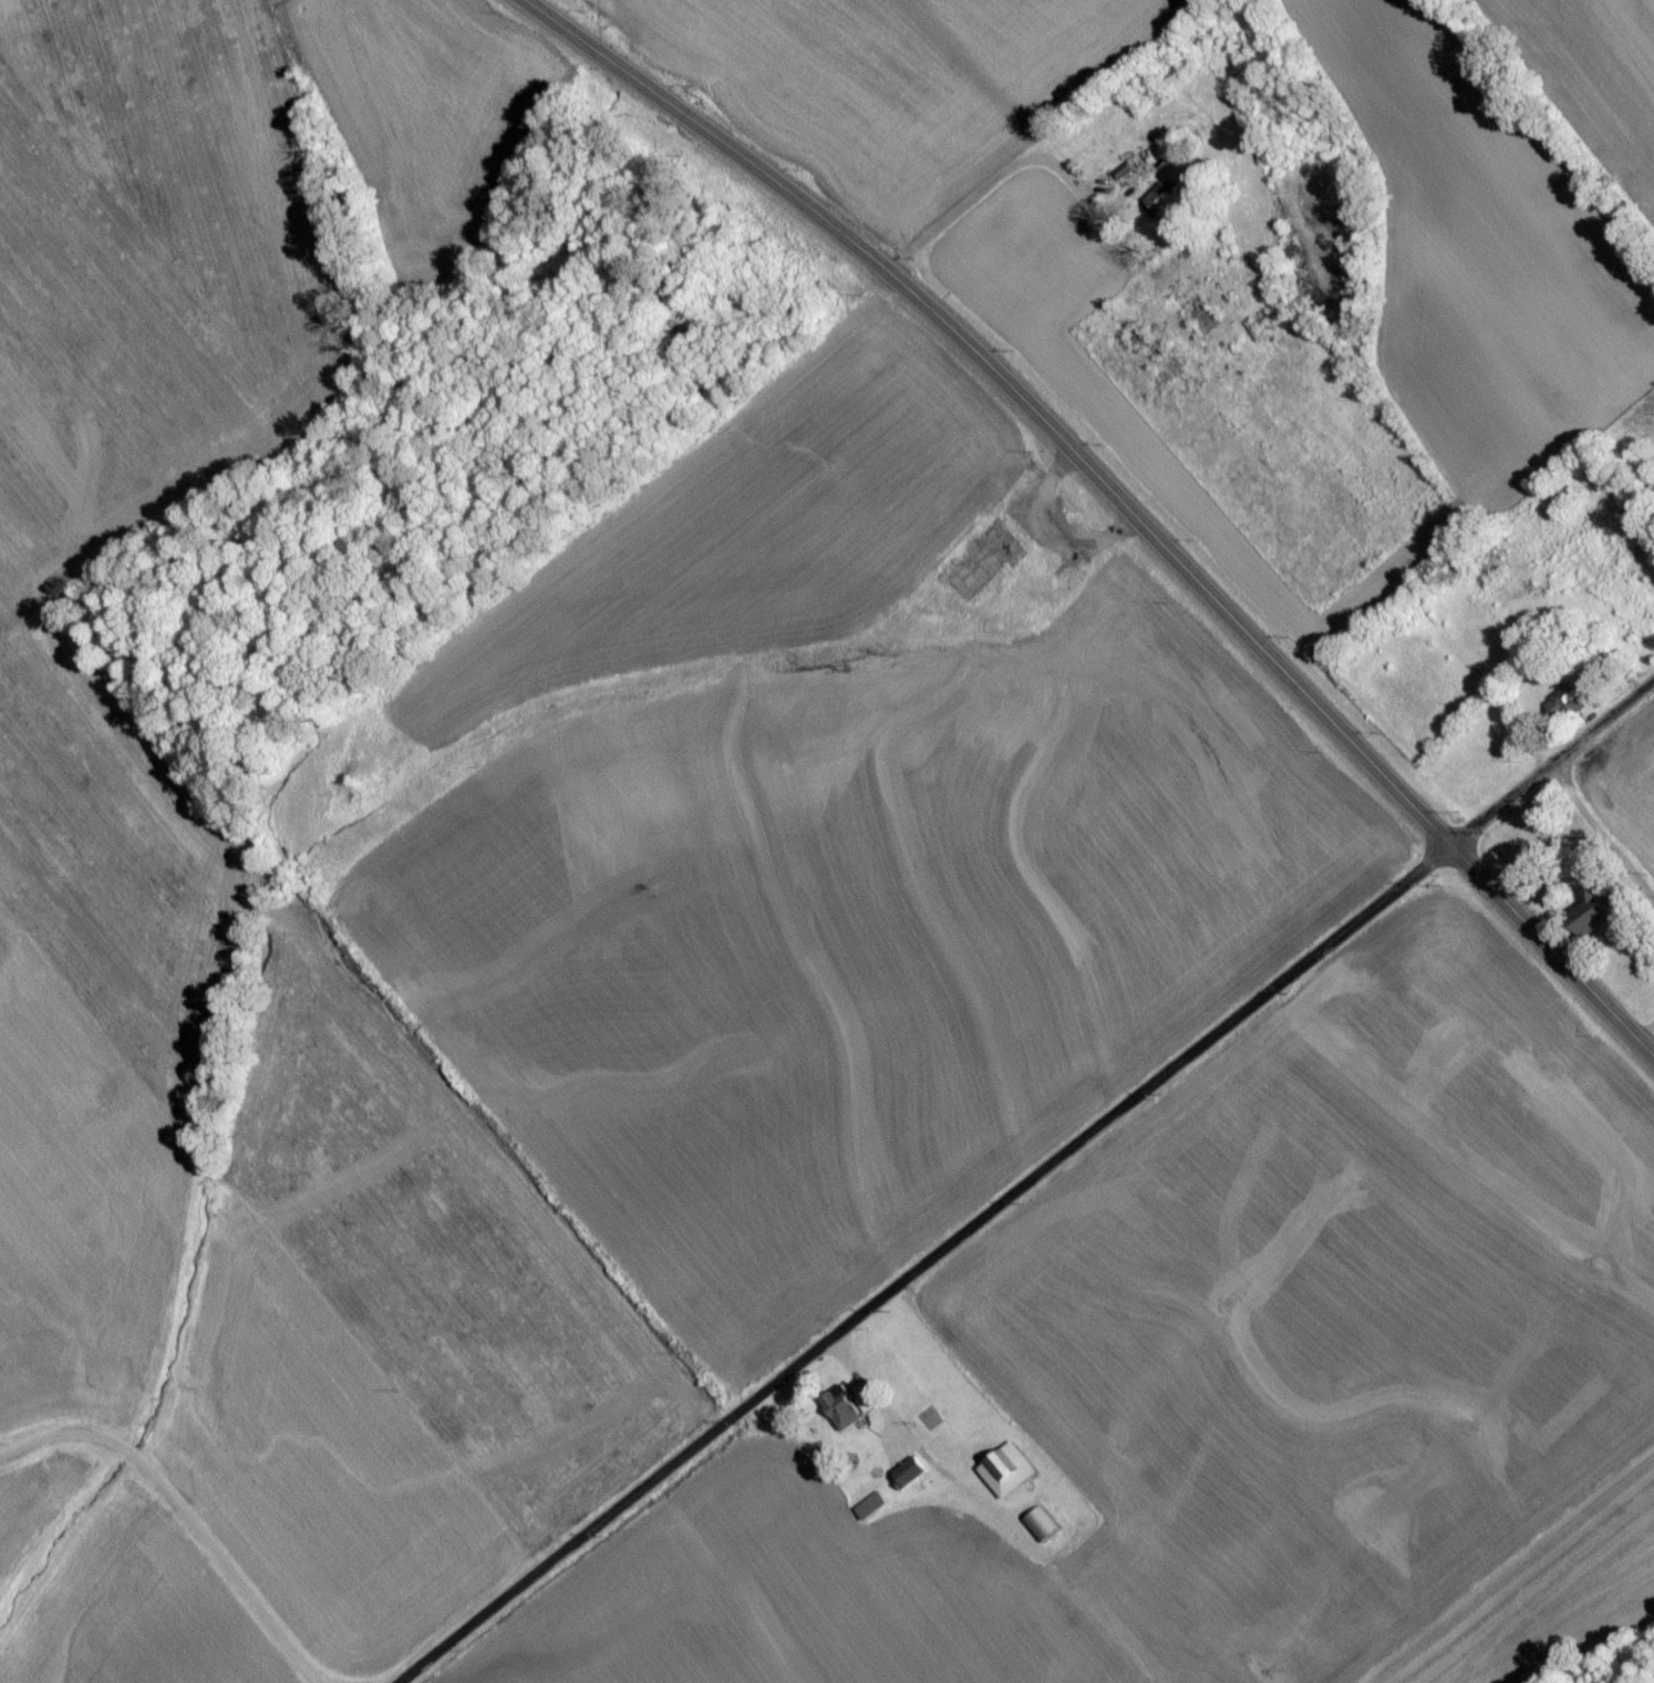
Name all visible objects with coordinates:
road: (983, 199)
building: (1162, 203)
building: (1193, 313)
road: (1113, 500)
building: (1564, 710)
road: (1553, 770)
road: (1590, 844)
building: (1594, 920)
road: (1643, 1033)
road: (911, 1254)
building: (841, 1413)
building: (1007, 1476)
building: (910, 1477)
road: (190, 1508)
building: (870, 1512)
building: (1041, 1530)

